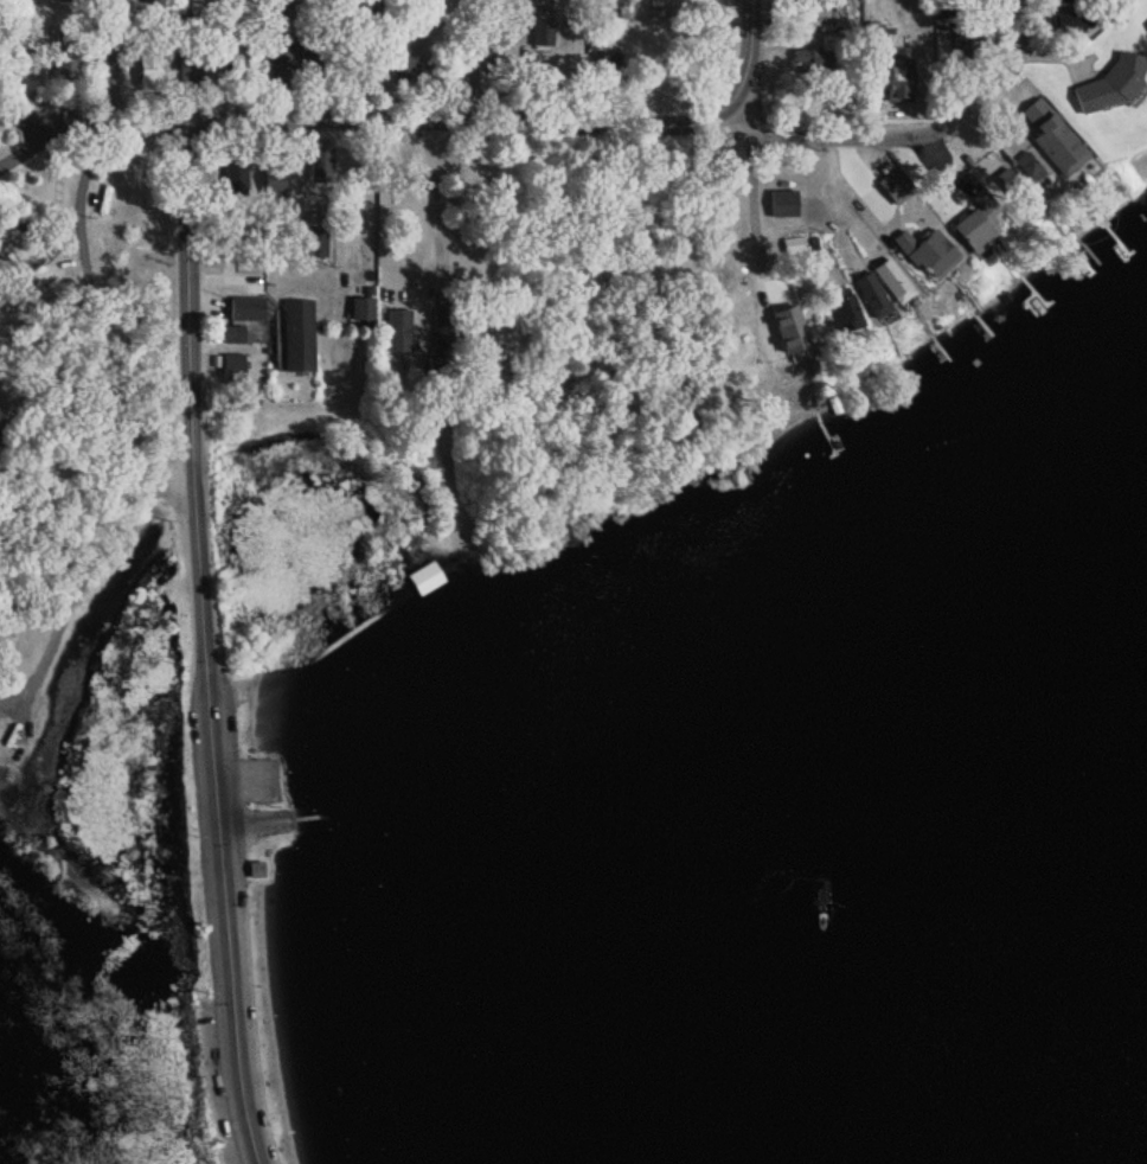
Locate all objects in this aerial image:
building: (65, 0)
building: (1070, 0)
building: (820, 2)
building: (20, 7)
building: (1066, 23)
road: (1018, 24)
building: (542, 33)
building: (872, 36)
building: (309, 51)
building: (64, 56)
road: (98, 57)
building: (816, 60)
building: (486, 69)
building: (613, 69)
building: (409, 70)
building: (278, 71)
building: (147, 72)
building: (896, 79)
building: (1110, 87)
road: (49, 113)
road: (145, 120)
road: (623, 120)
road: (744, 121)
road: (46, 136)
building: (1051, 136)
building: (319, 164)
building: (1026, 165)
building: (232, 179)
building: (274, 180)
building: (1011, 185)
road: (382, 198)
building: (982, 200)
building: (781, 203)
road: (432, 219)
building: (970, 229)
building: (903, 241)
building: (313, 242)
building: (934, 256)
road: (84, 268)
building: (879, 284)
building: (14, 289)
building: (246, 307)
building: (360, 308)
building: (847, 316)
building: (397, 330)
building: (792, 332)
building: (297, 333)
building: (440, 345)
building: (483, 364)
road: (88, 573)
road: (194, 646)
parking lot: (228, 738)
parking lot: (206, 891)
parking lot: (246, 967)

